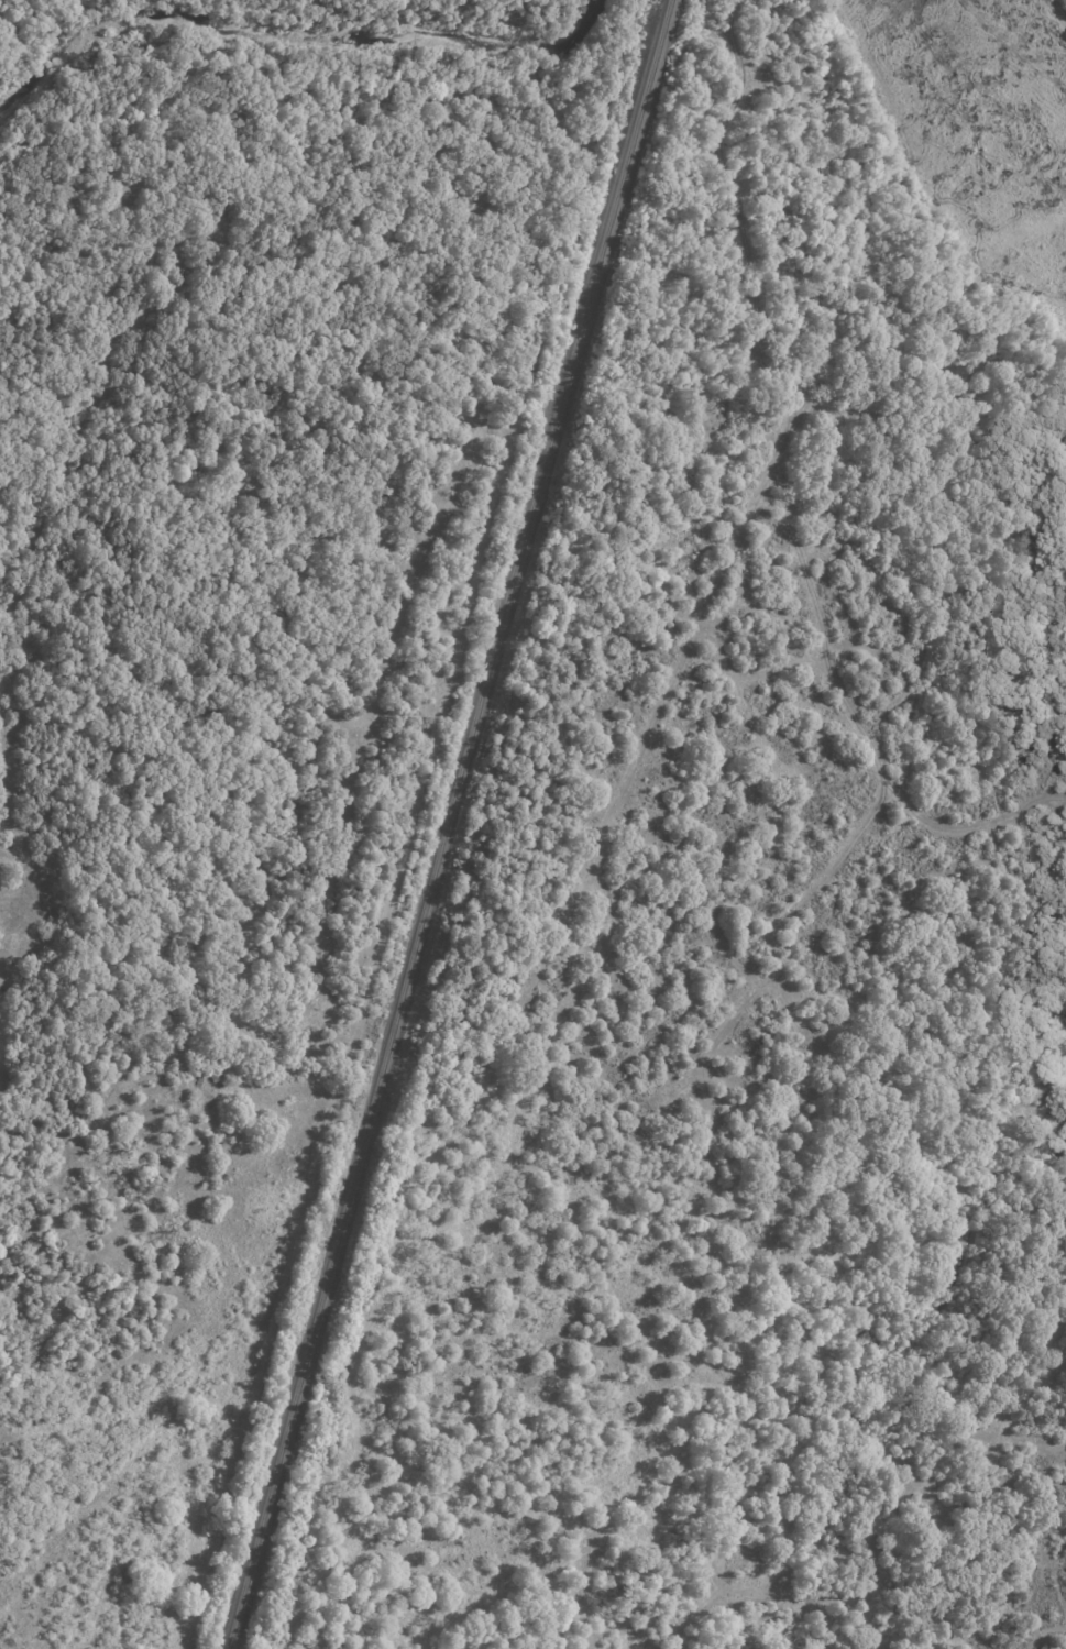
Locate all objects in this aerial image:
railway: (446, 824)

